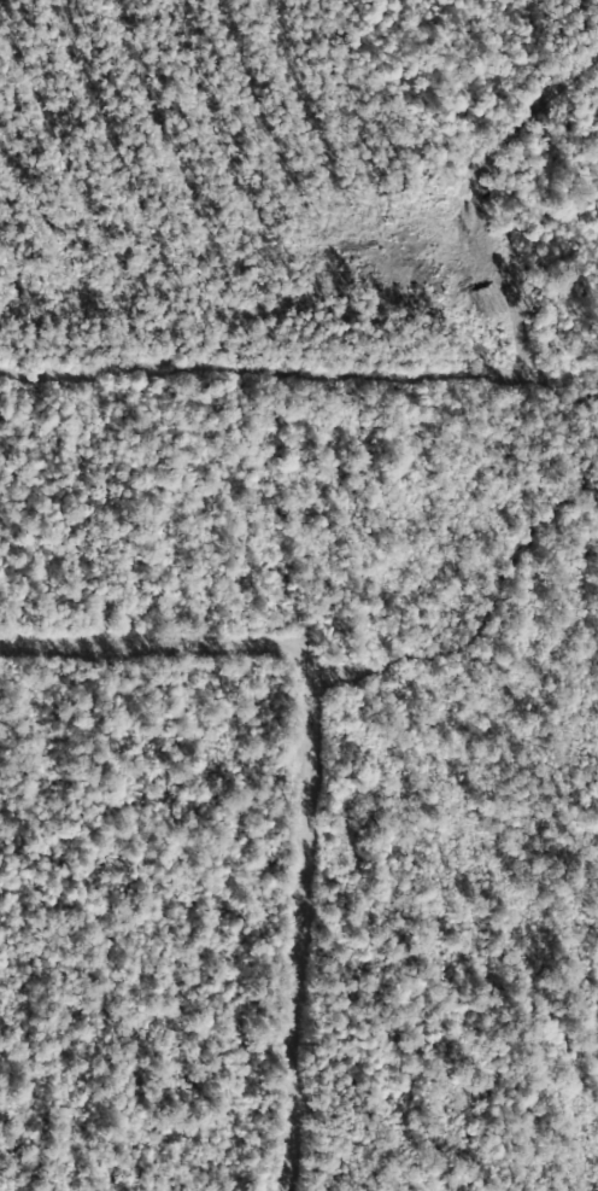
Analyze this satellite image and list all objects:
road: (292, 941)

